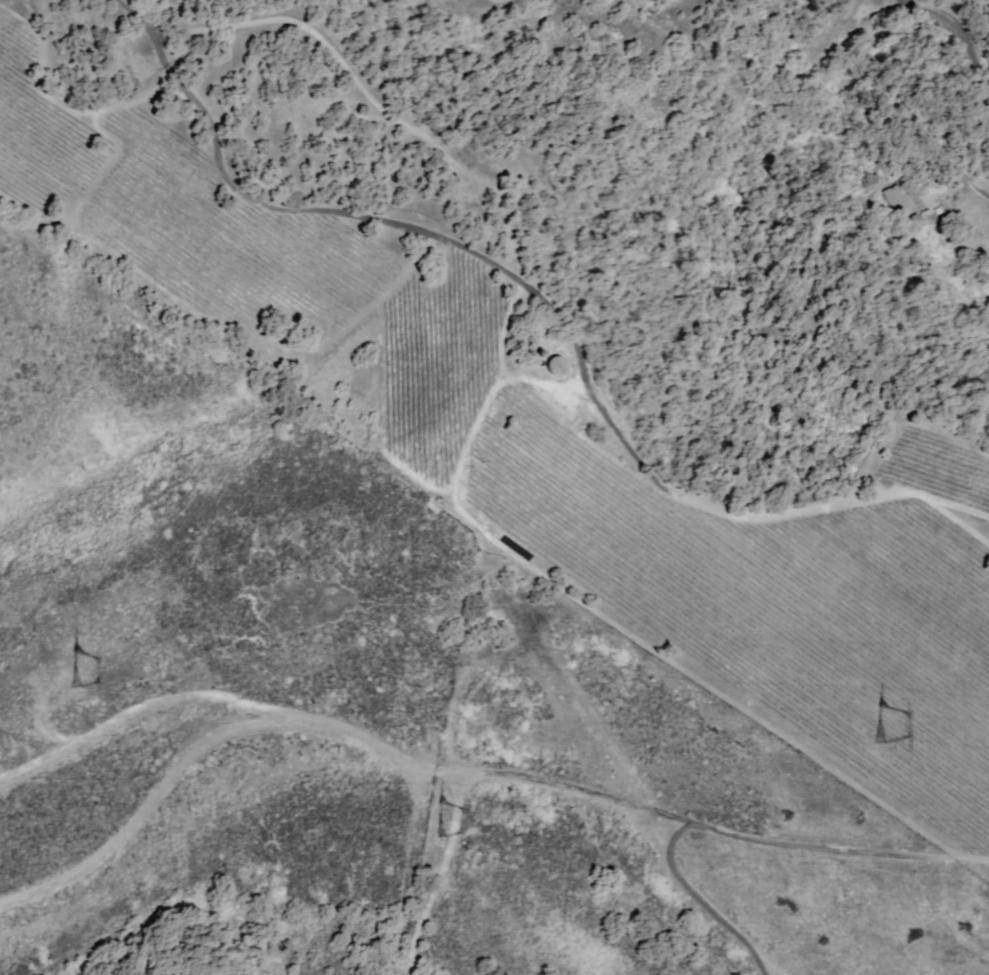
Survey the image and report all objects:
road: (954, 44)
road: (960, 174)
building: (898, 201)
building: (926, 207)
road: (274, 209)
building: (917, 220)
road: (540, 296)
storage tank: (554, 365)
power tower: (68, 663)
power tower: (872, 720)
road: (483, 775)
power tower: (438, 820)

